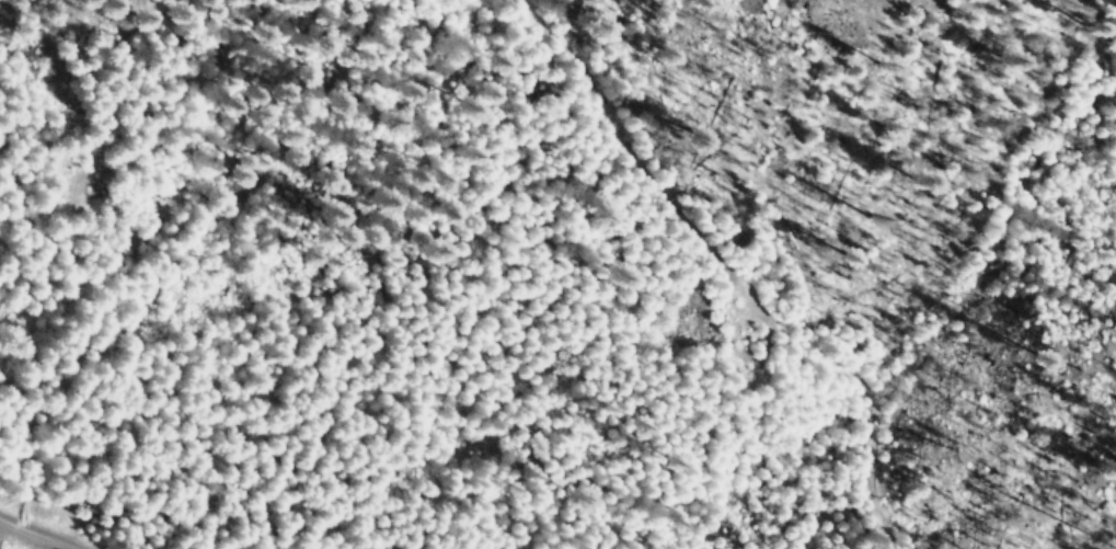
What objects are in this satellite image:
road: (47, 528)

